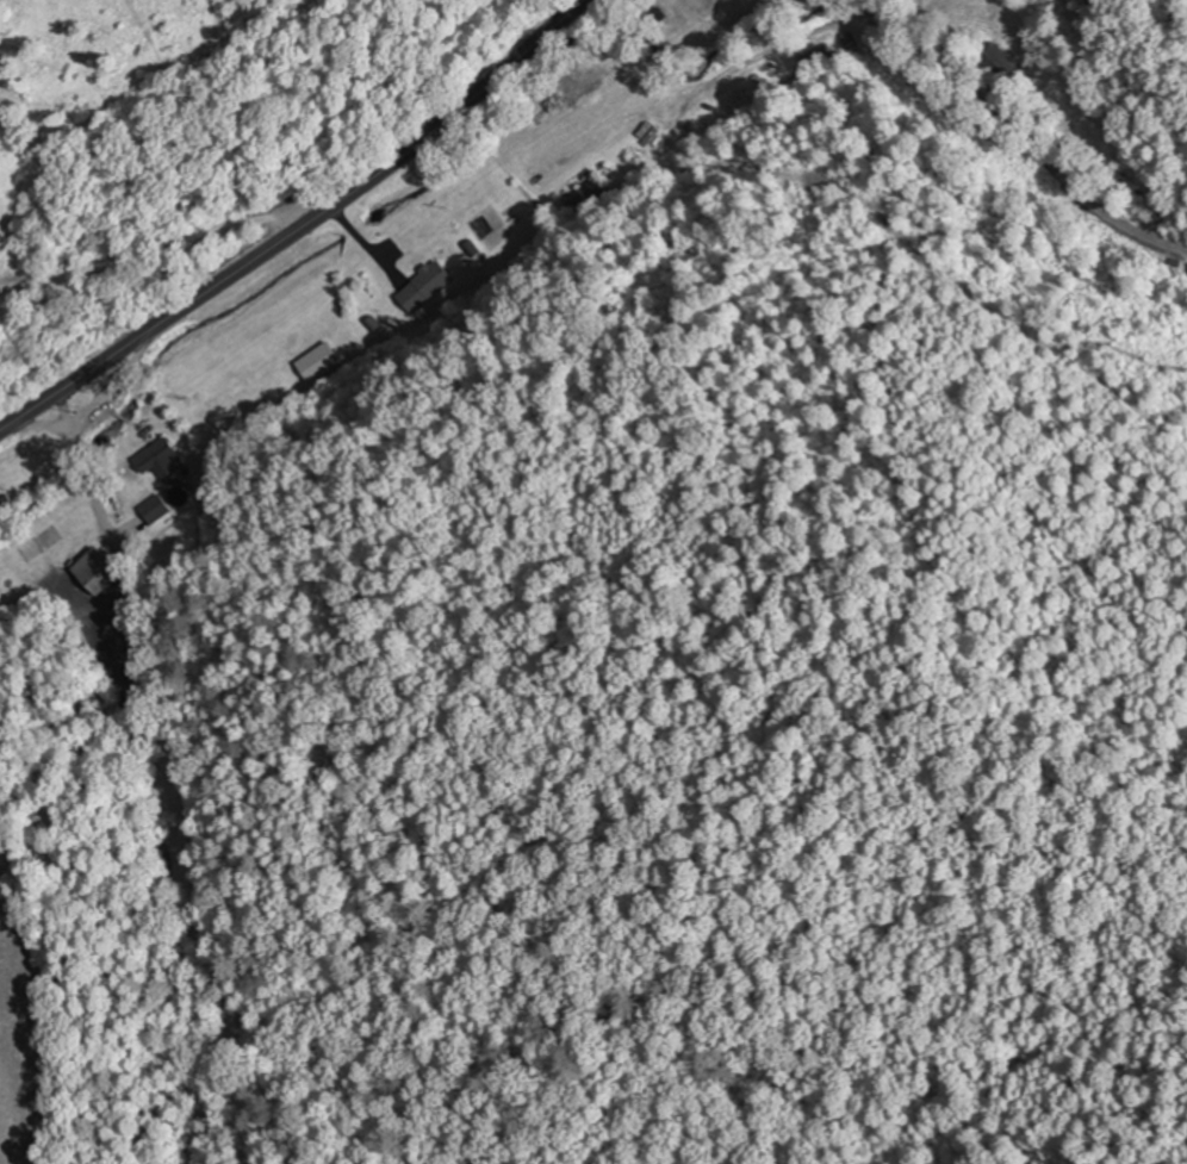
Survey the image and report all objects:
building: (1013, 55)
building: (815, 56)
road: (1020, 135)
building: (586, 198)
road: (298, 225)
road: (156, 238)
building: (424, 286)
building: (319, 361)
road: (117, 382)
building: (166, 457)
building: (156, 509)
building: (97, 571)
road: (174, 760)
road: (206, 1090)

